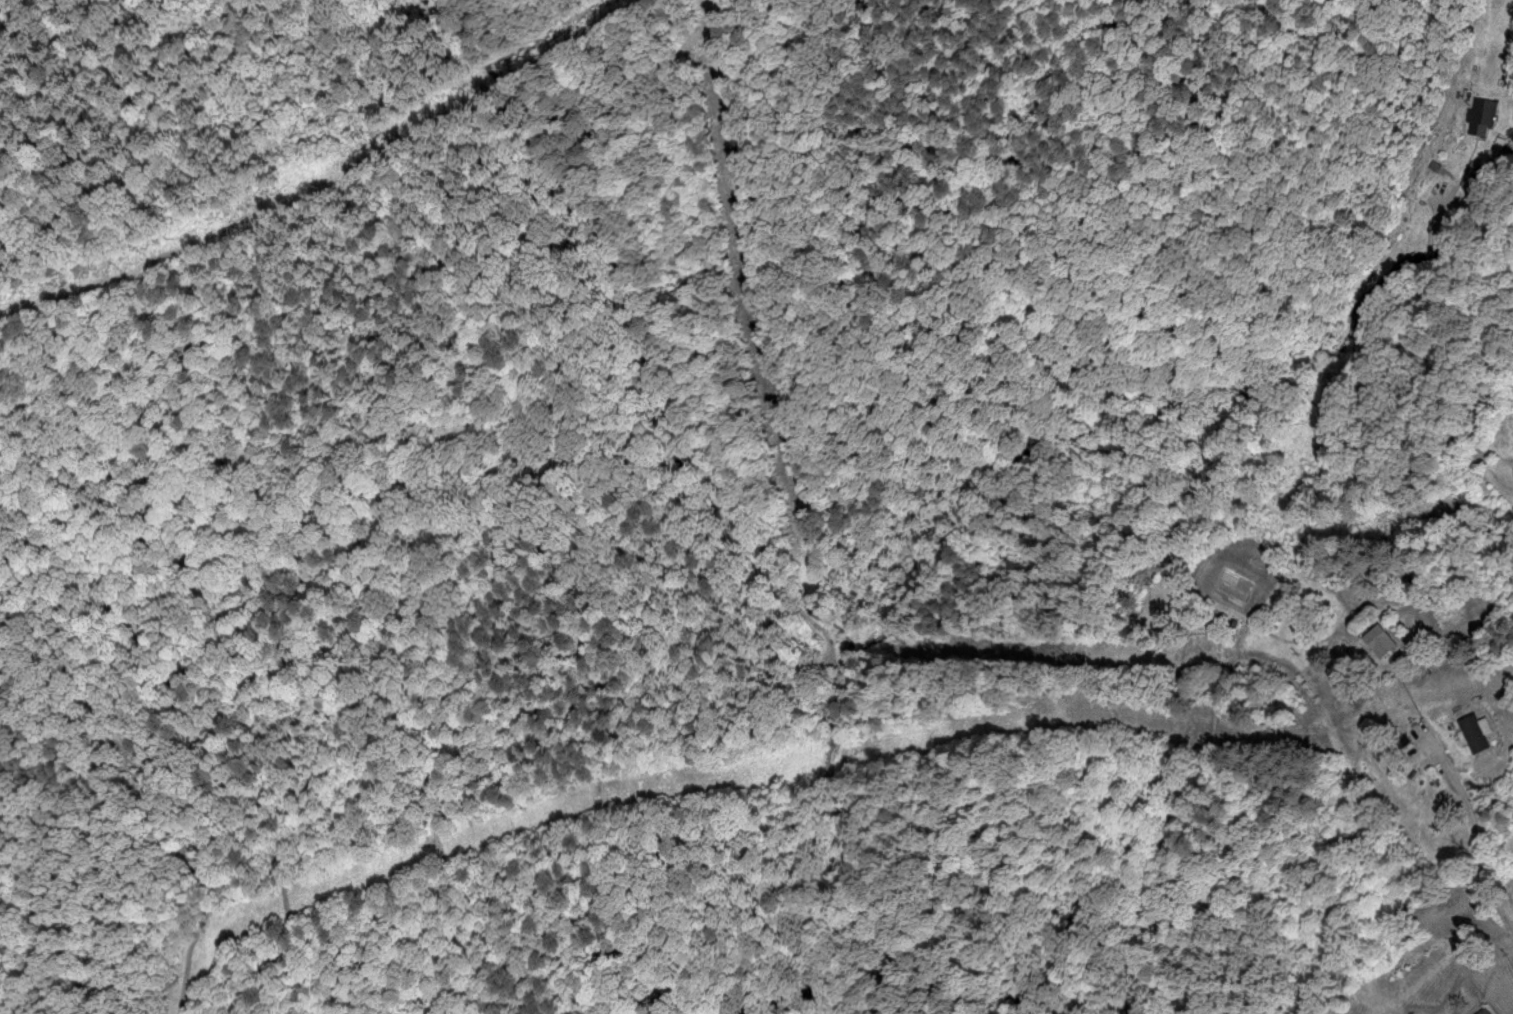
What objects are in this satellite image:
building: (1480, 115)
building: (1471, 175)
road: (1364, 388)
building: (1379, 640)
building: (1473, 733)
road: (1474, 837)
building: (1483, 1011)

